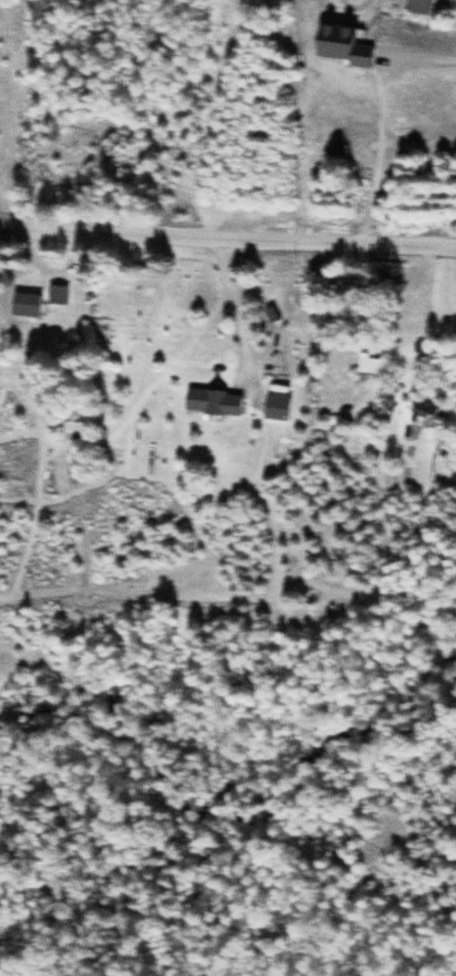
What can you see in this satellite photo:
road: (228, 228)
building: (343, 290)
building: (59, 297)
building: (25, 302)
building: (372, 368)
building: (426, 411)
building: (76, 435)

